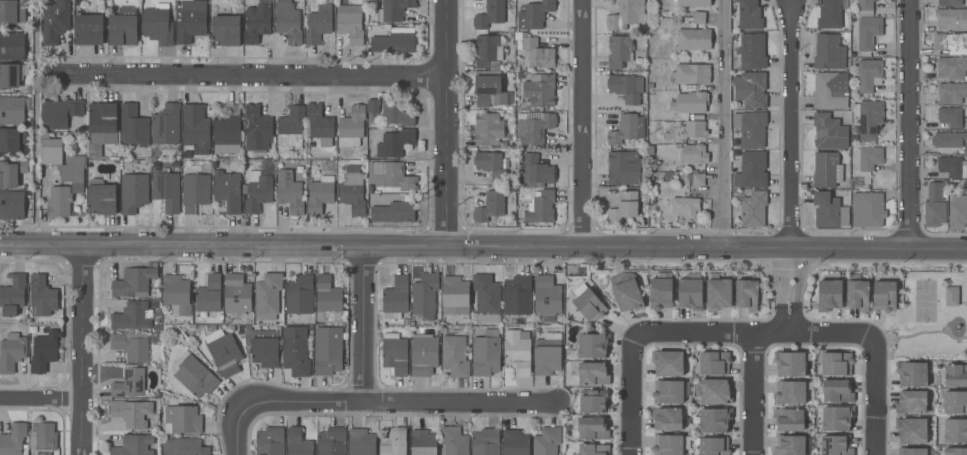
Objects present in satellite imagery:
building: (950, 2)
building: (694, 3)
building: (865, 8)
building: (394, 10)
building: (11, 11)
building: (490, 14)
building: (830, 14)
building: (534, 15)
building: (627, 15)
building: (746, 15)
building: (692, 18)
building: (951, 19)
building: (190, 20)
building: (55, 21)
building: (257, 22)
building: (288, 22)
building: (350, 22)
building: (318, 24)
building: (158, 25)
building: (123, 27)
building: (89, 30)
building: (510, 30)
building: (226, 31)
building: (866, 37)
building: (694, 39)
building: (394, 40)
building: (951, 43)
building: (12, 46)
building: (534, 51)
building: (619, 51)
building: (752, 51)
building: (488, 52)
building: (829, 52)
building: (951, 68)
building: (689, 74)
building: (869, 75)
building: (9, 76)
road: (248, 76)
building: (506, 84)
building: (626, 88)
building: (490, 89)
building: (751, 89)
building: (539, 90)
building: (830, 91)
building: (951, 92)
building: (690, 102)
building: (372, 106)
building: (12, 110)
building: (59, 113)
building: (397, 113)
building: (950, 117)
building: (868, 118)
road: (34, 122)
road: (445, 122)
building: (103, 123)
road: (581, 123)
road: (722, 124)
road: (790, 124)
road: (911, 124)
building: (166, 125)
building: (133, 126)
building: (319, 126)
building: (351, 127)
building: (534, 127)
building: (195, 128)
building: (257, 128)
building: (751, 128)
building: (290, 129)
building: (488, 129)
building: (627, 129)
building: (694, 129)
building: (226, 131)
building: (829, 131)
building: (11, 140)
building: (948, 140)
building: (396, 142)
building: (965, 148)
building: (650, 150)
building: (374, 151)
building: (94, 153)
building: (870, 159)
building: (50, 161)
building: (695, 162)
building: (175, 165)
building: (490, 165)
building: (950, 167)
building: (623, 168)
building: (826, 169)
building: (751, 170)
building: (536, 171)
building: (11, 173)
building: (394, 176)
building: (965, 185)
building: (166, 189)
building: (352, 190)
building: (257, 191)
building: (934, 191)
building: (133, 192)
building: (195, 192)
building: (226, 192)
building: (289, 192)
building: (320, 195)
building: (101, 197)
building: (59, 201)
building: (539, 204)
building: (12, 206)
building: (492, 206)
building: (685, 206)
building: (624, 208)
building: (752, 208)
building: (390, 210)
building: (867, 210)
building: (829, 211)
building: (958, 211)
building: (934, 213)
road: (222, 245)
road: (705, 247)
building: (134, 280)
road: (788, 289)
building: (627, 291)
building: (660, 291)
building: (177, 293)
building: (12, 294)
building: (237, 294)
building: (690, 294)
building: (718, 294)
building: (42, 295)
building: (299, 295)
building: (425, 295)
building: (455, 295)
building: (746, 295)
building: (829, 295)
building: (857, 295)
building: (208, 296)
building: (267, 296)
building: (517, 296)
building: (547, 296)
building: (884, 296)
building: (951, 297)
building: (395, 298)
building: (486, 298)
building: (327, 300)
building: (588, 303)
building: (132, 316)
road: (362, 324)
road: (749, 332)
building: (131, 345)
building: (593, 345)
building: (262, 346)
road: (81, 349)
building: (44, 350)
building: (327, 350)
building: (11, 351)
building: (295, 351)
building: (518, 351)
building: (224, 352)
building: (395, 353)
building: (486, 353)
building: (547, 354)
building: (423, 355)
building: (455, 356)
building: (668, 363)
building: (714, 363)
building: (790, 363)
building: (836, 364)
building: (912, 373)
building: (593, 374)
building: (956, 375)
building: (195, 376)
building: (129, 383)
building: (668, 391)
building: (715, 391)
building: (791, 391)
building: (837, 391)
road: (872, 392)
road: (752, 393)
road: (629, 394)
road: (40, 397)
building: (593, 401)
building: (911, 402)
building: (955, 402)
road: (396, 403)
building: (131, 412)
building: (834, 417)
building: (667, 418)
building: (182, 419)
building: (715, 419)
building: (788, 419)
building: (592, 428)
building: (911, 430)
building: (955, 430)
road: (238, 433)
building: (43, 436)
building: (13, 440)
building: (270, 441)
building: (332, 441)
building: (453, 441)
building: (547, 441)
building: (298, 442)
building: (361, 442)
building: (485, 442)
building: (394, 443)
building: (423, 443)
building: (515, 443)
building: (670, 444)
building: (133, 445)
building: (792, 445)
building: (836, 445)
building: (712, 446)
building: (184, 447)
building: (593, 449)
building: (915, 451)
building: (955, 451)

